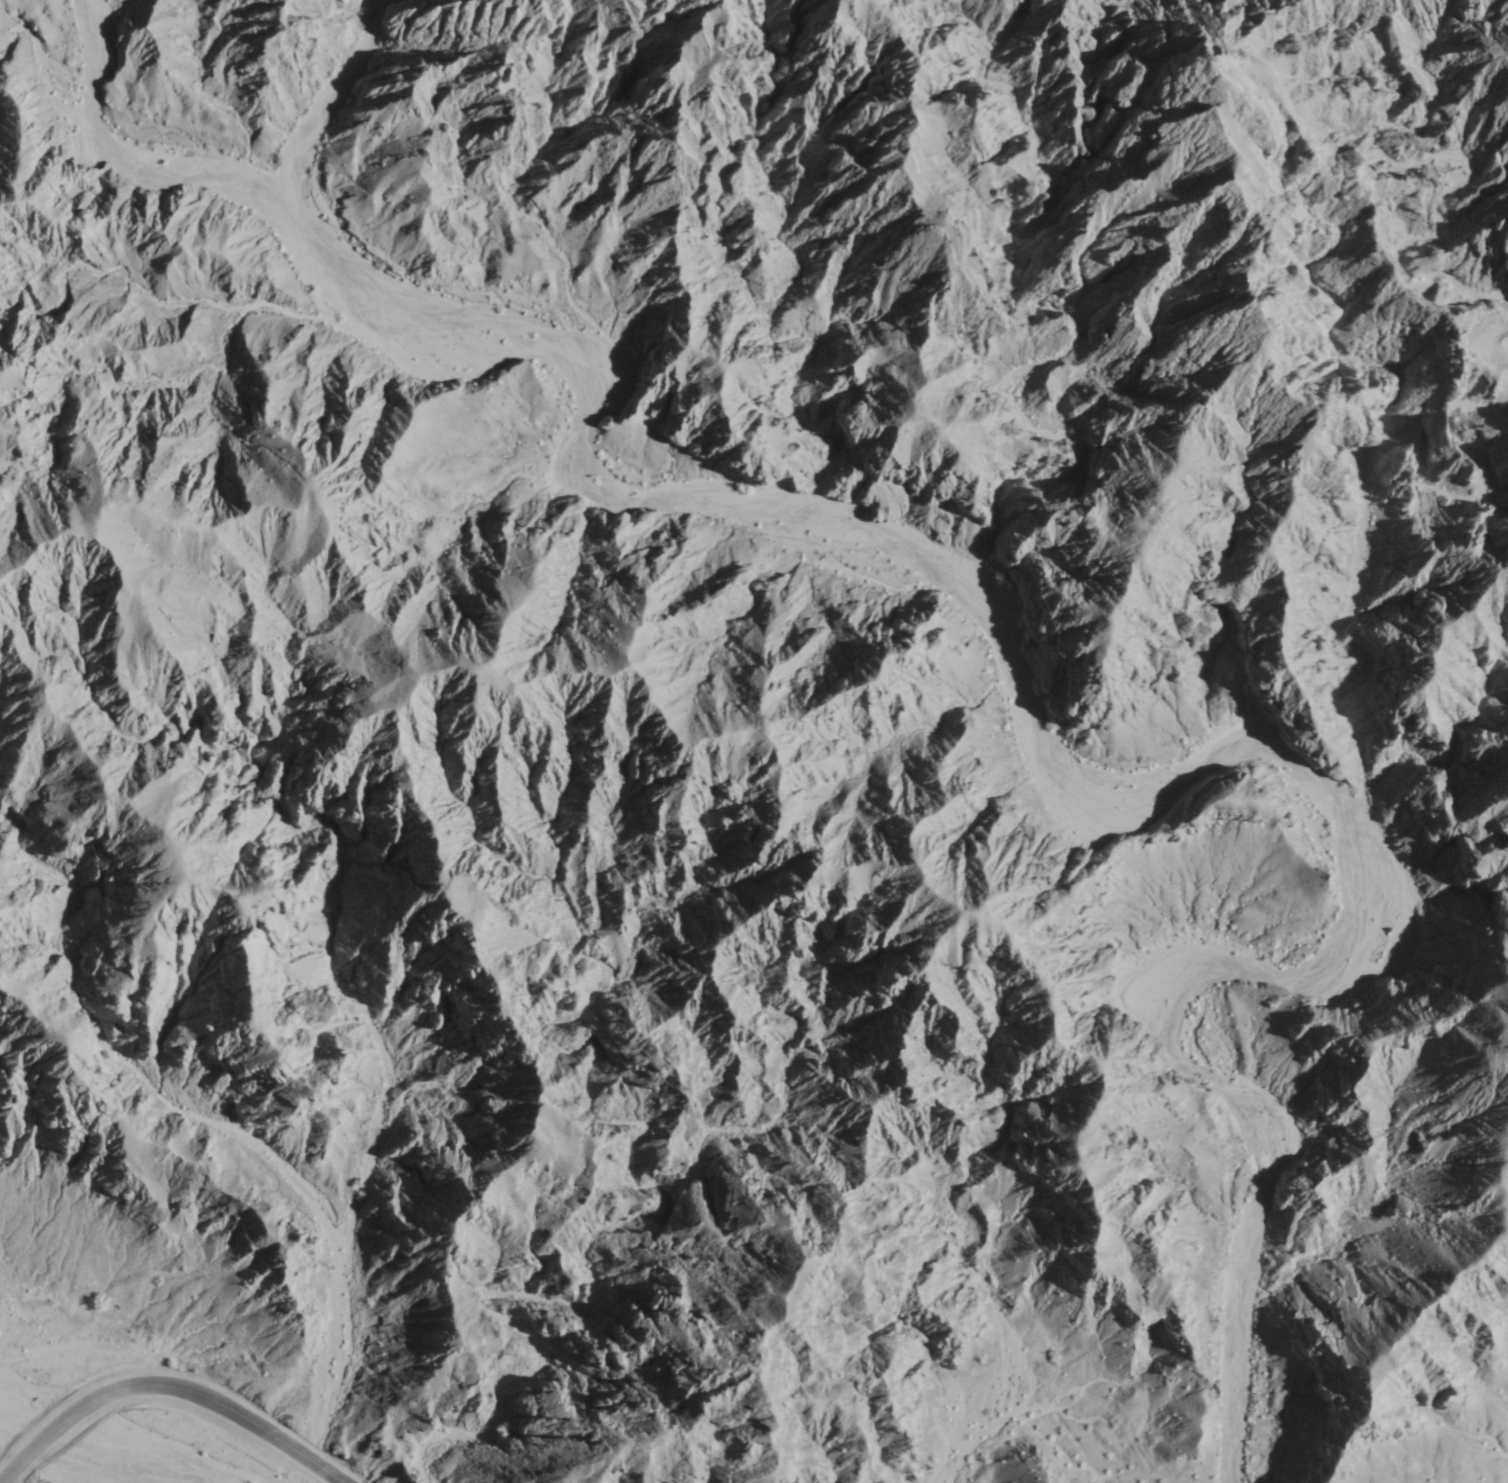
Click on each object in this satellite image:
road: (169, 1383)

